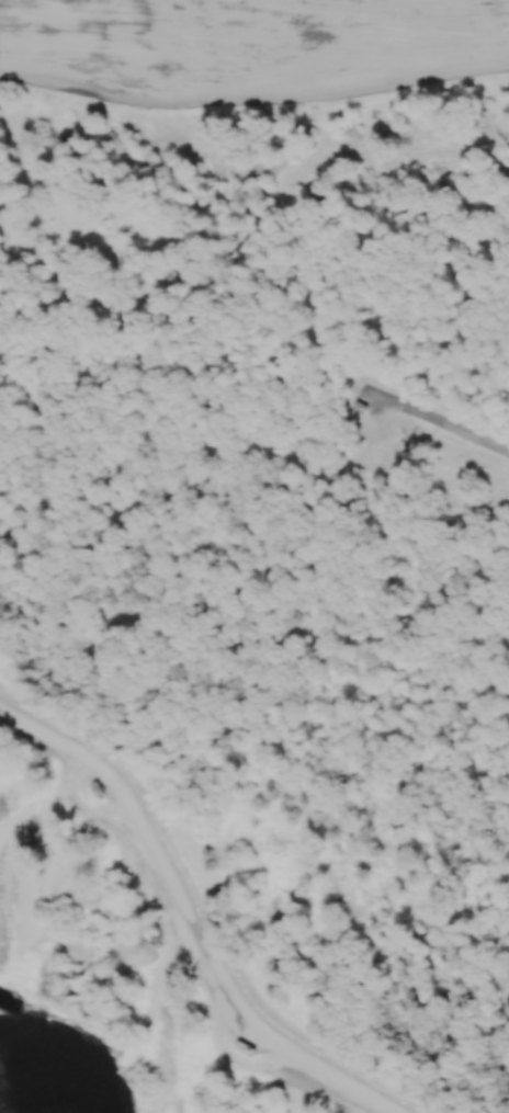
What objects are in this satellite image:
road: (437, 424)
road: (190, 920)
building: (242, 1048)

